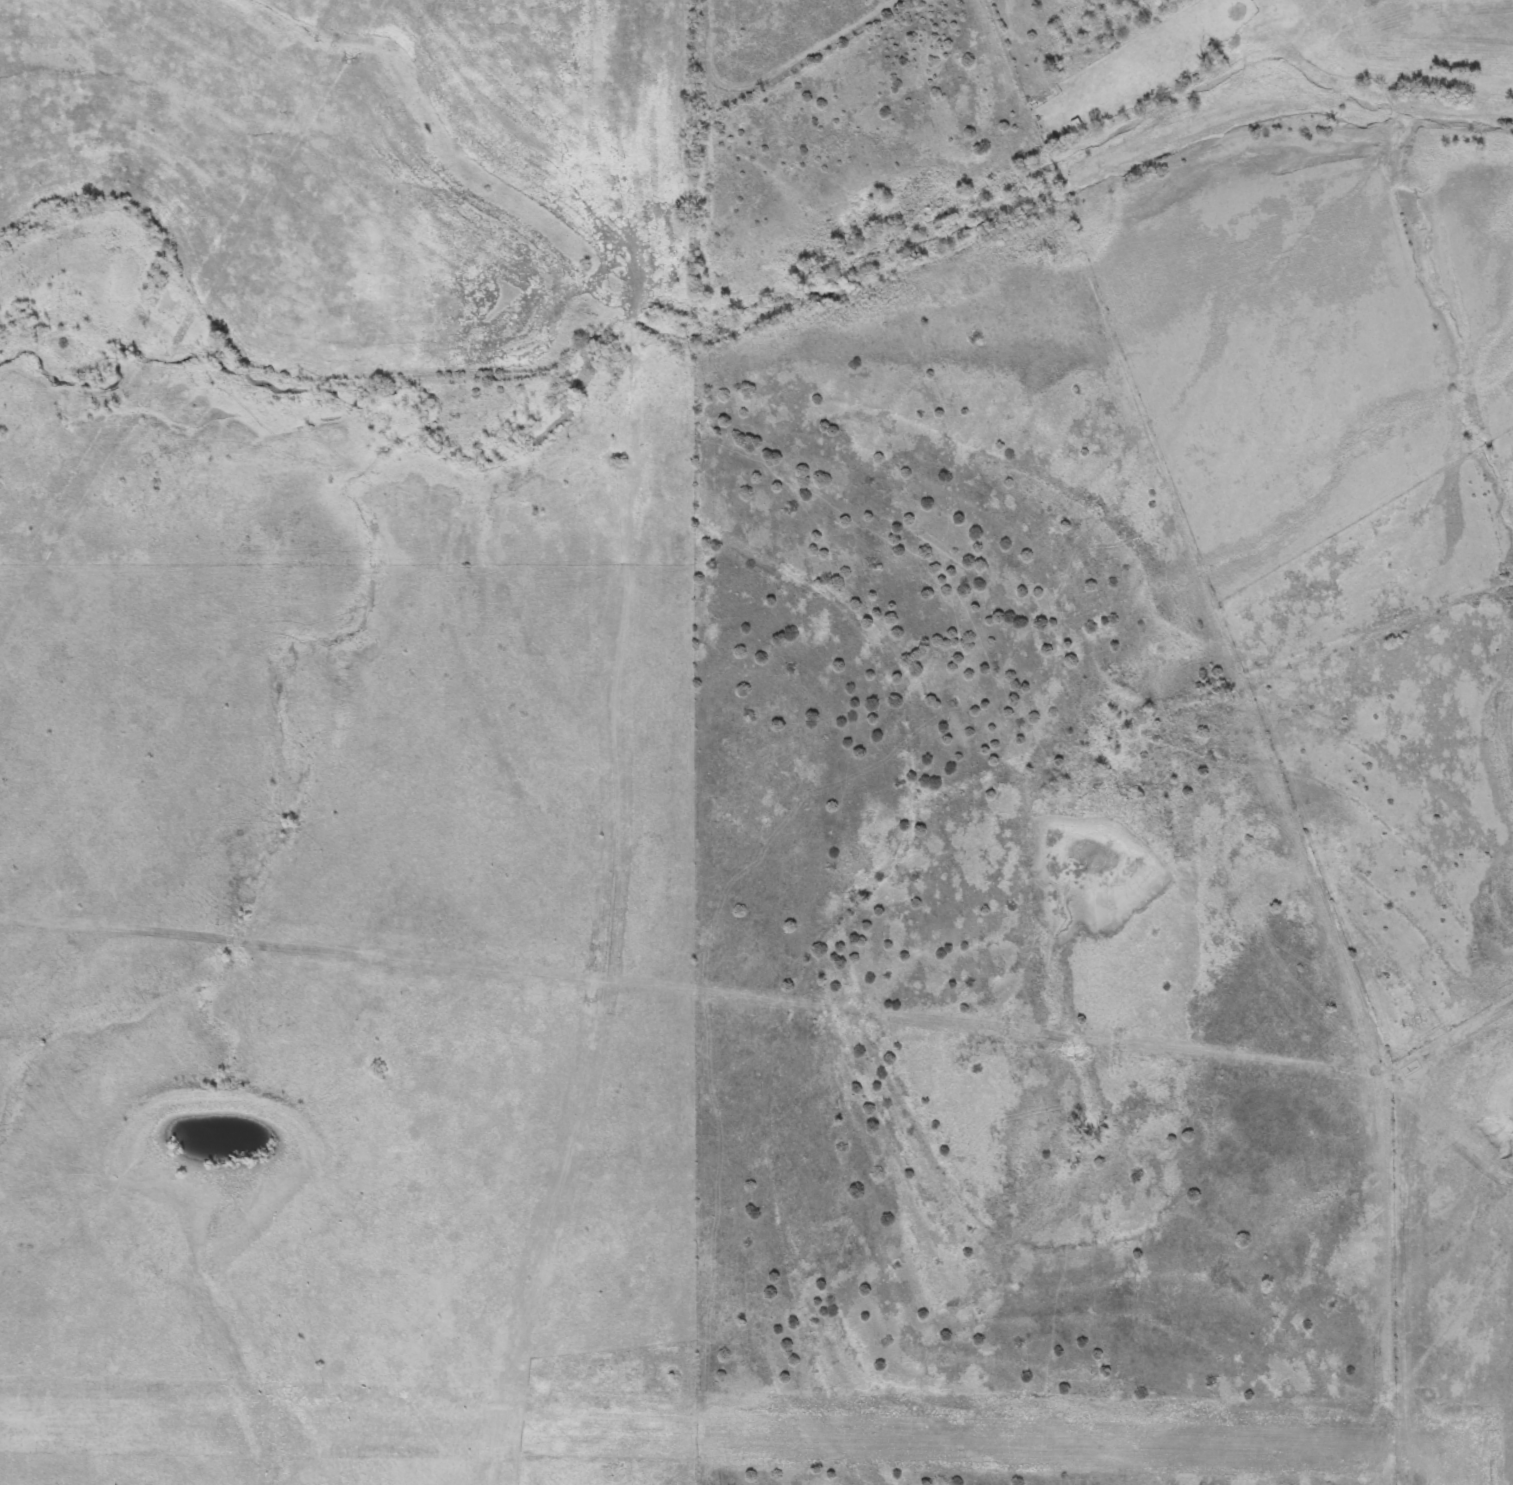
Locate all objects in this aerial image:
building: (1406, 1068)

